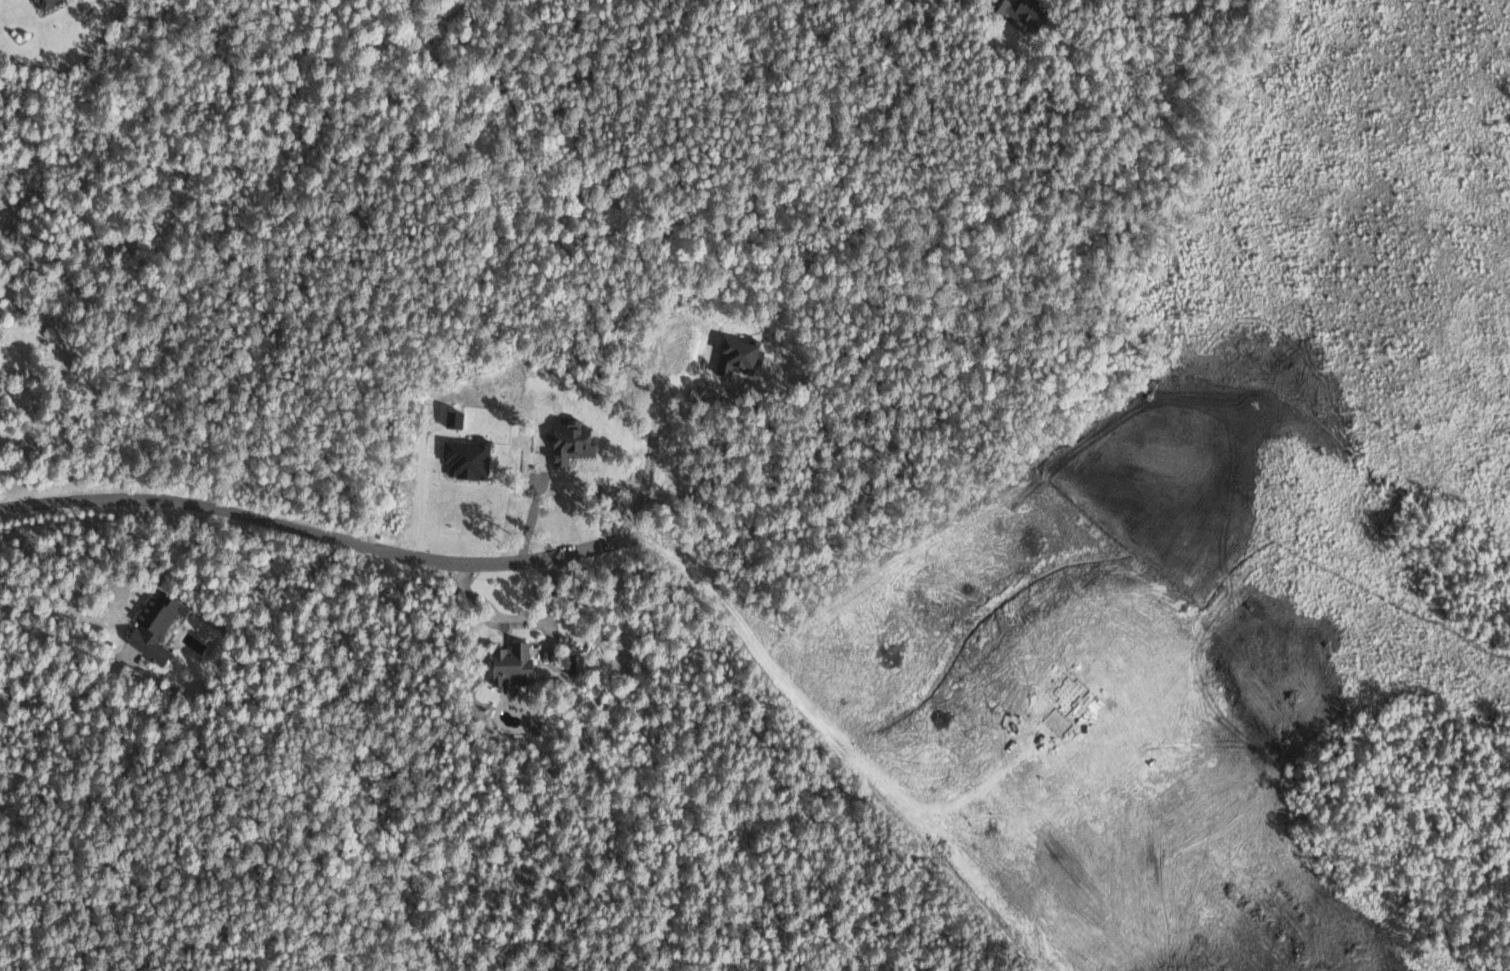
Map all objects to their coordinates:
building: (44, 3)
building: (454, 418)
building: (570, 441)
building: (467, 457)
road: (178, 499)
road: (495, 563)
road: (515, 625)
building: (154, 626)
road: (57, 639)
building: (511, 663)

